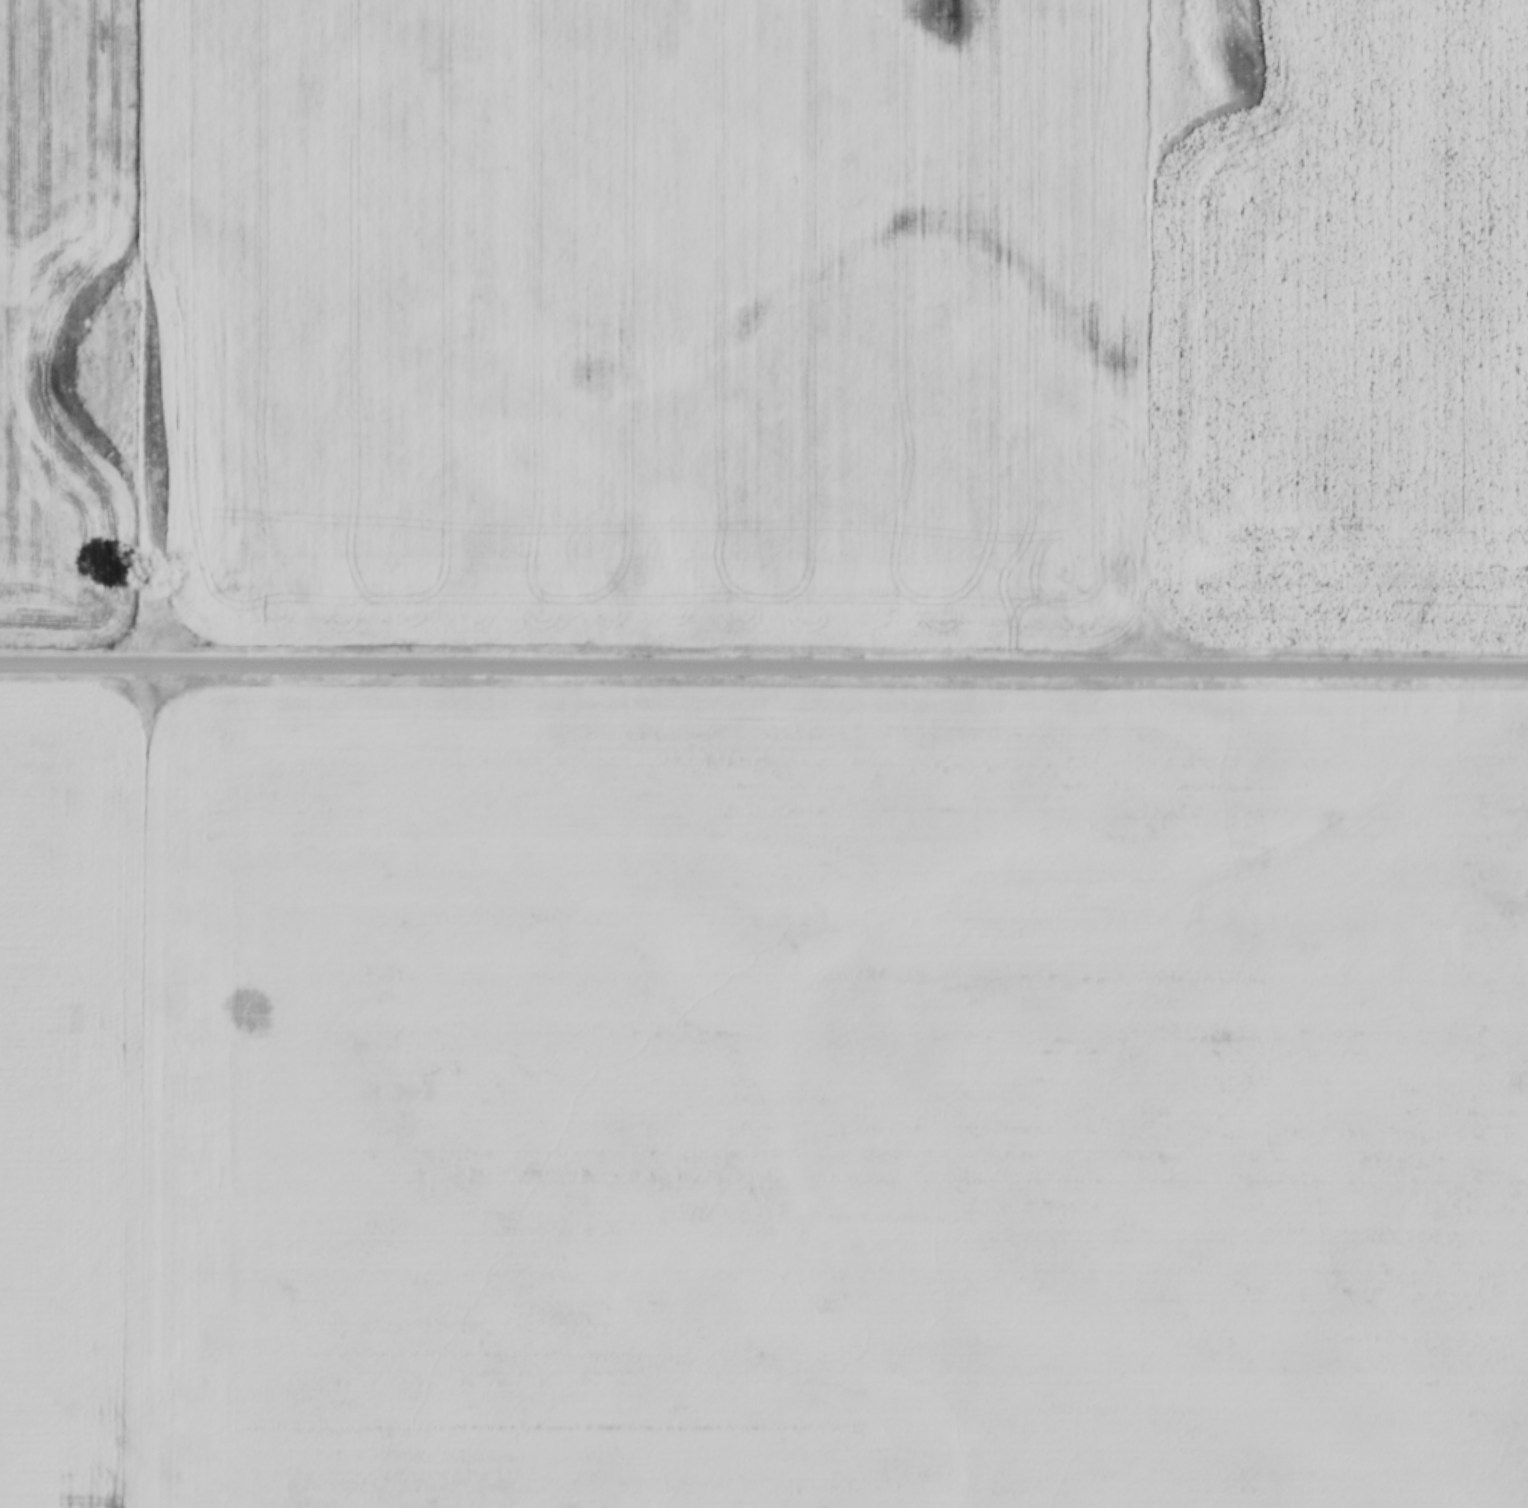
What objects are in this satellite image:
road: (764, 660)

